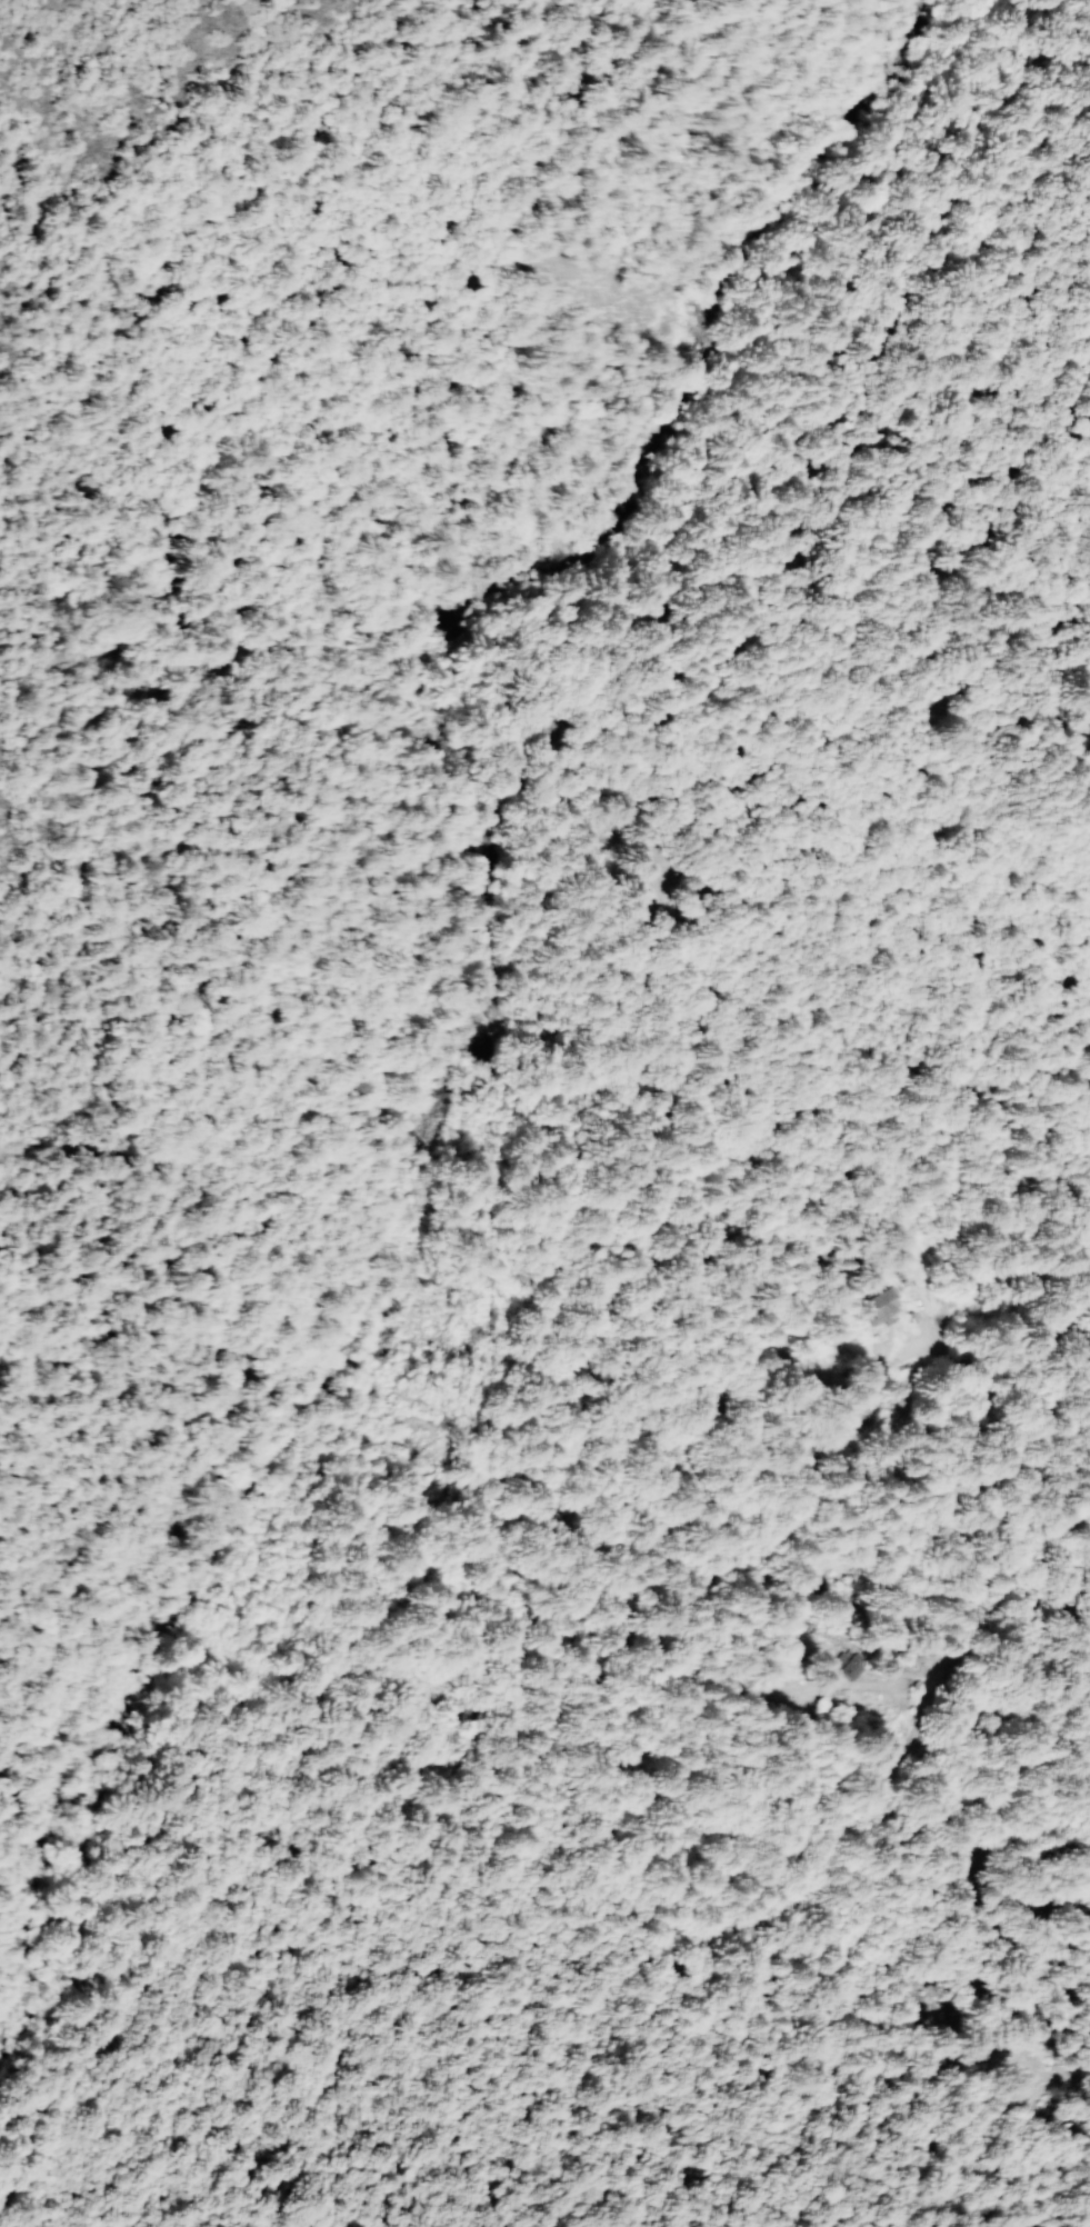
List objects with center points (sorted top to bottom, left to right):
road: (996, 1073)
building: (887, 1310)
building: (841, 1670)

